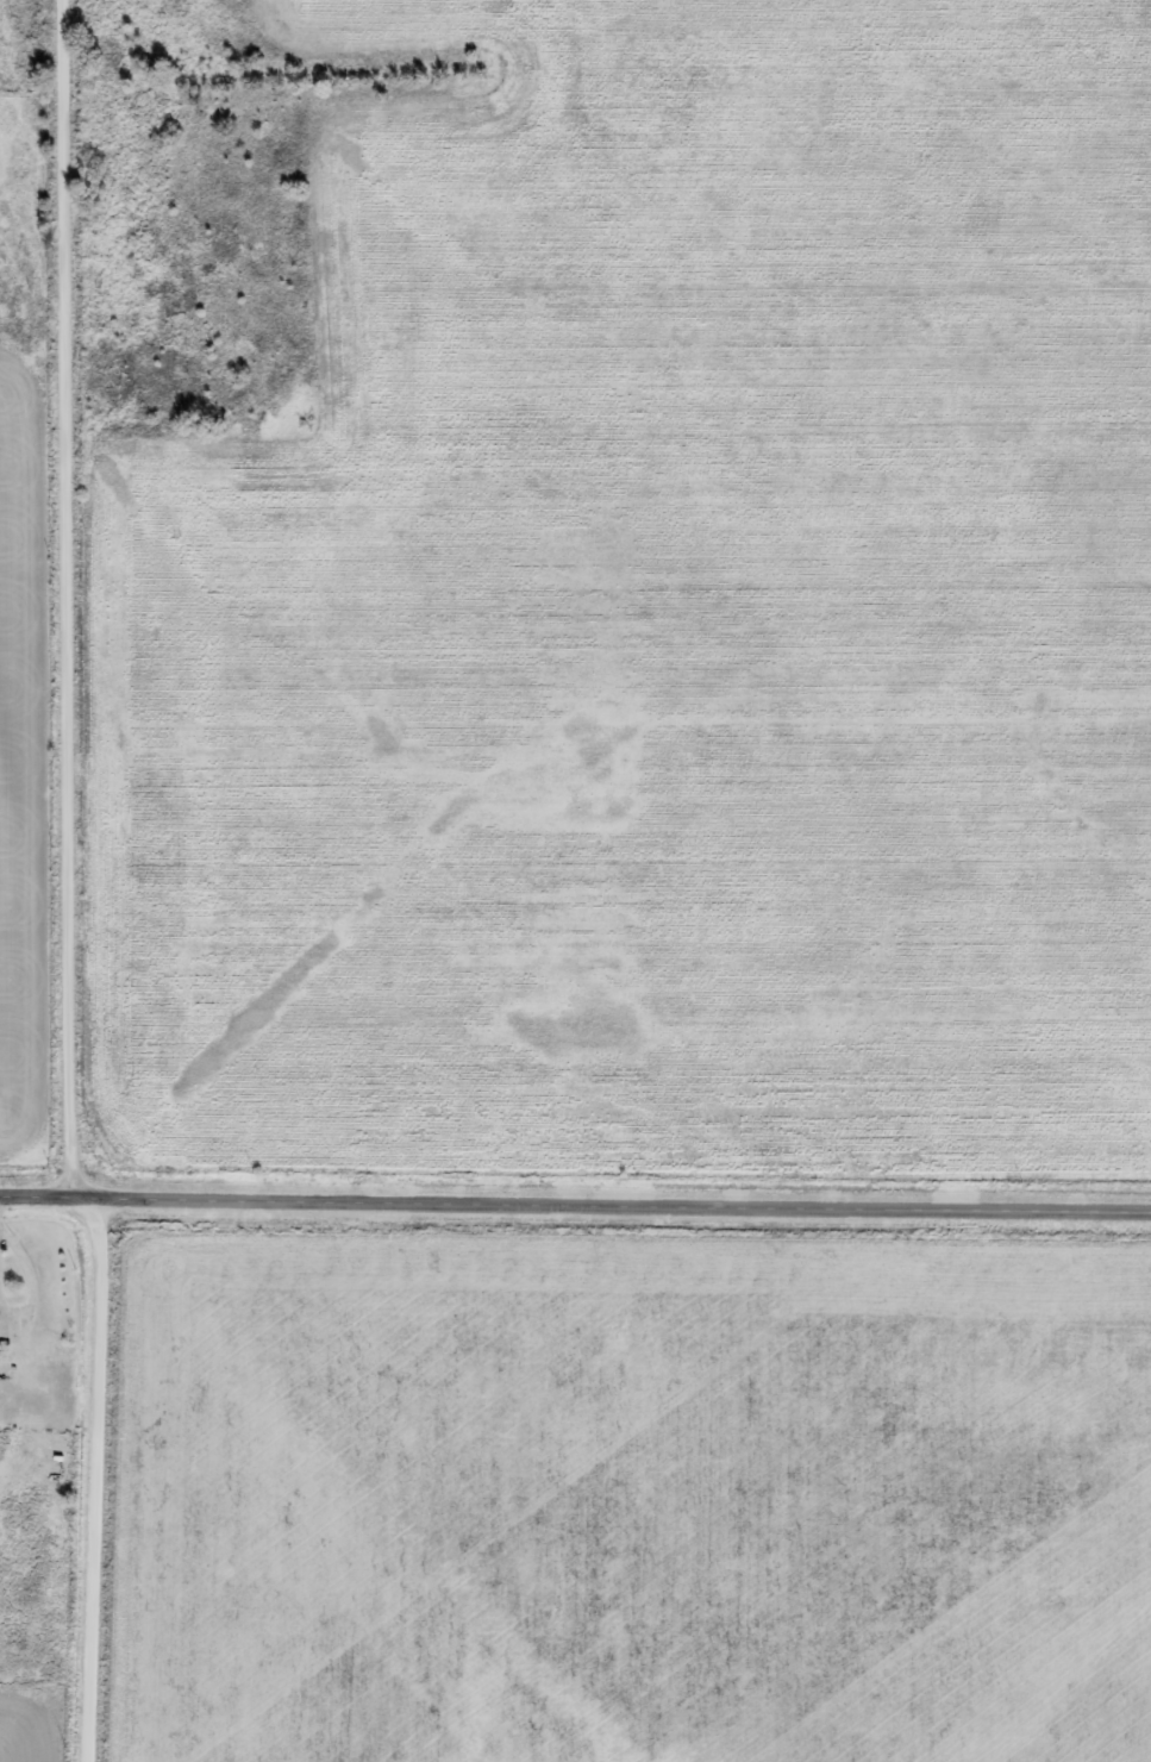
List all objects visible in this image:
road: (75, 598)
road: (575, 1204)
road: (99, 1477)

